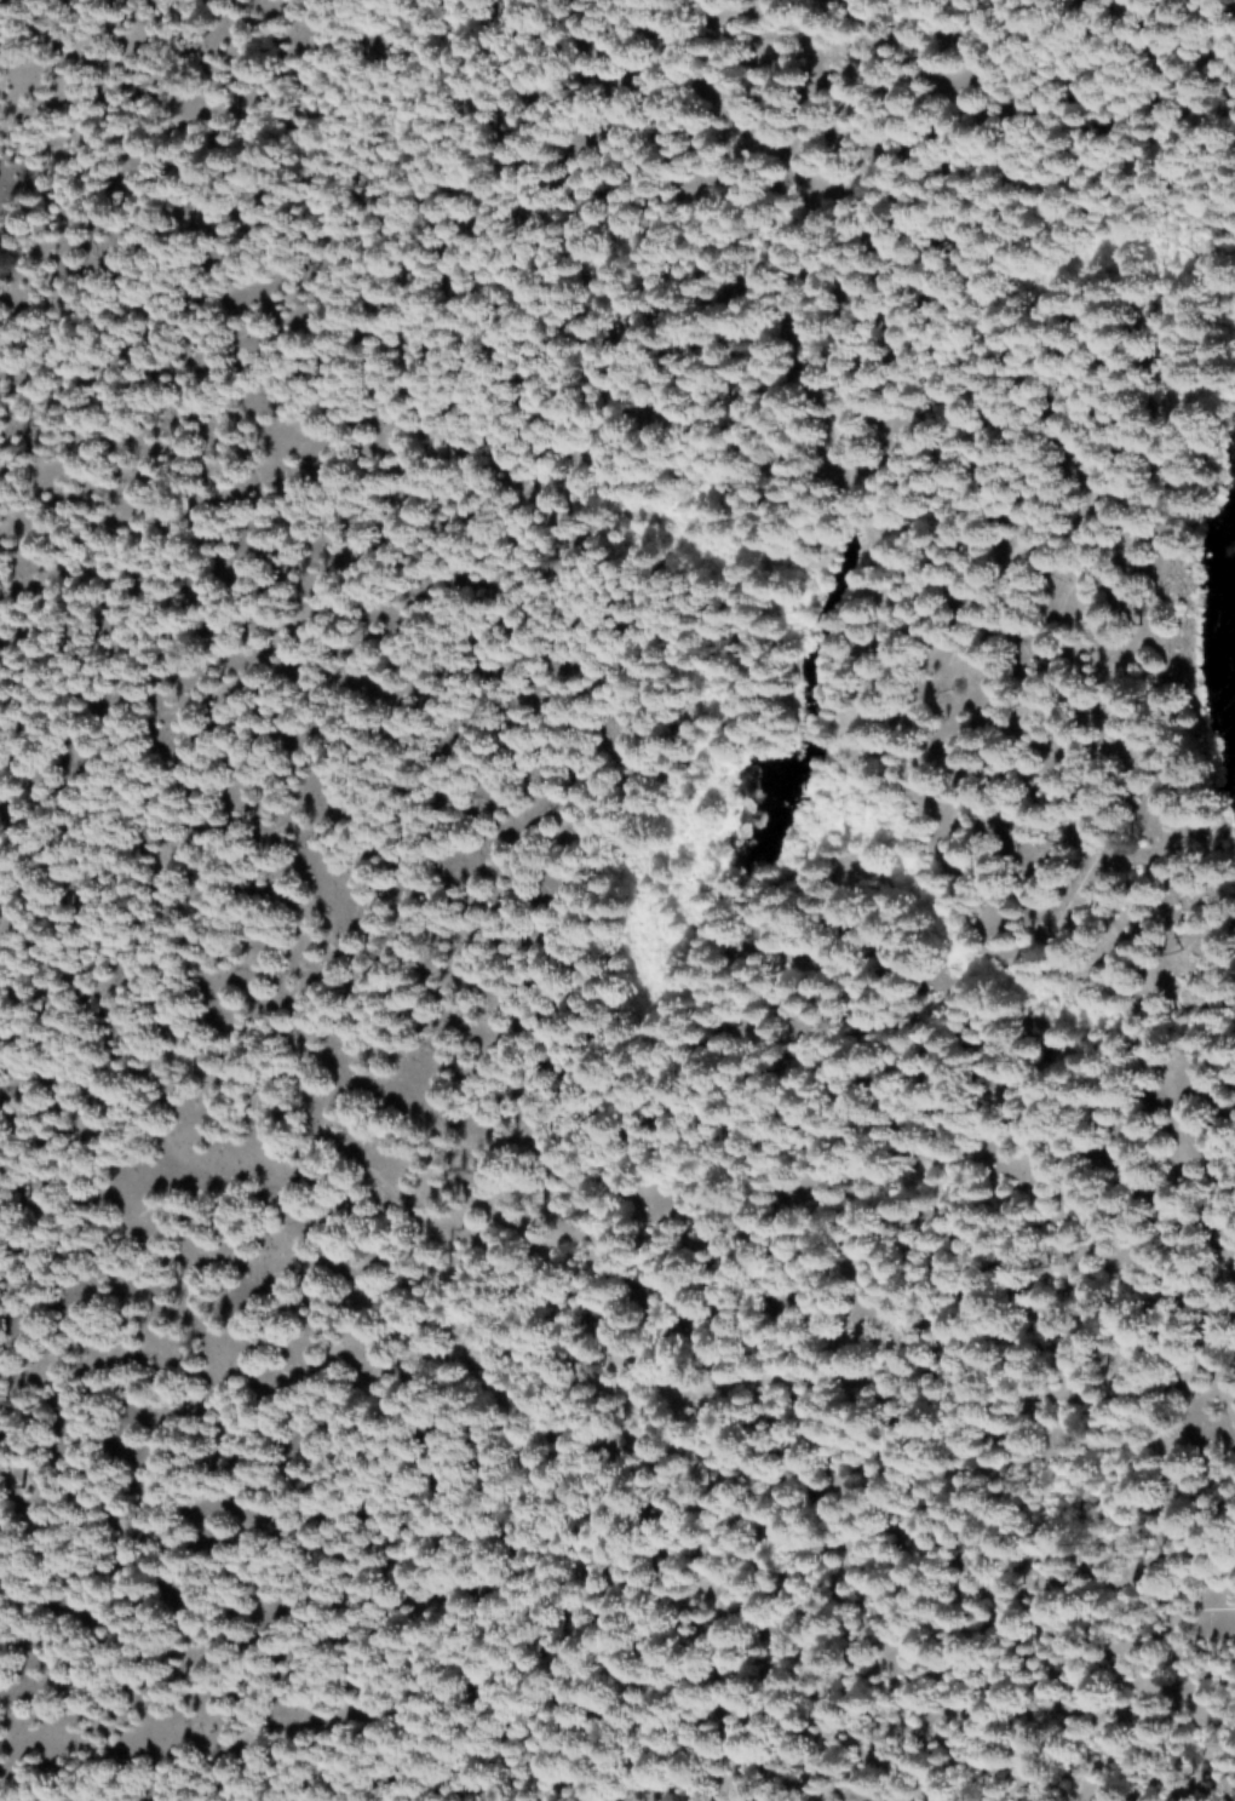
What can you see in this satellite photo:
river: (1230, 619)
road: (1079, 715)

